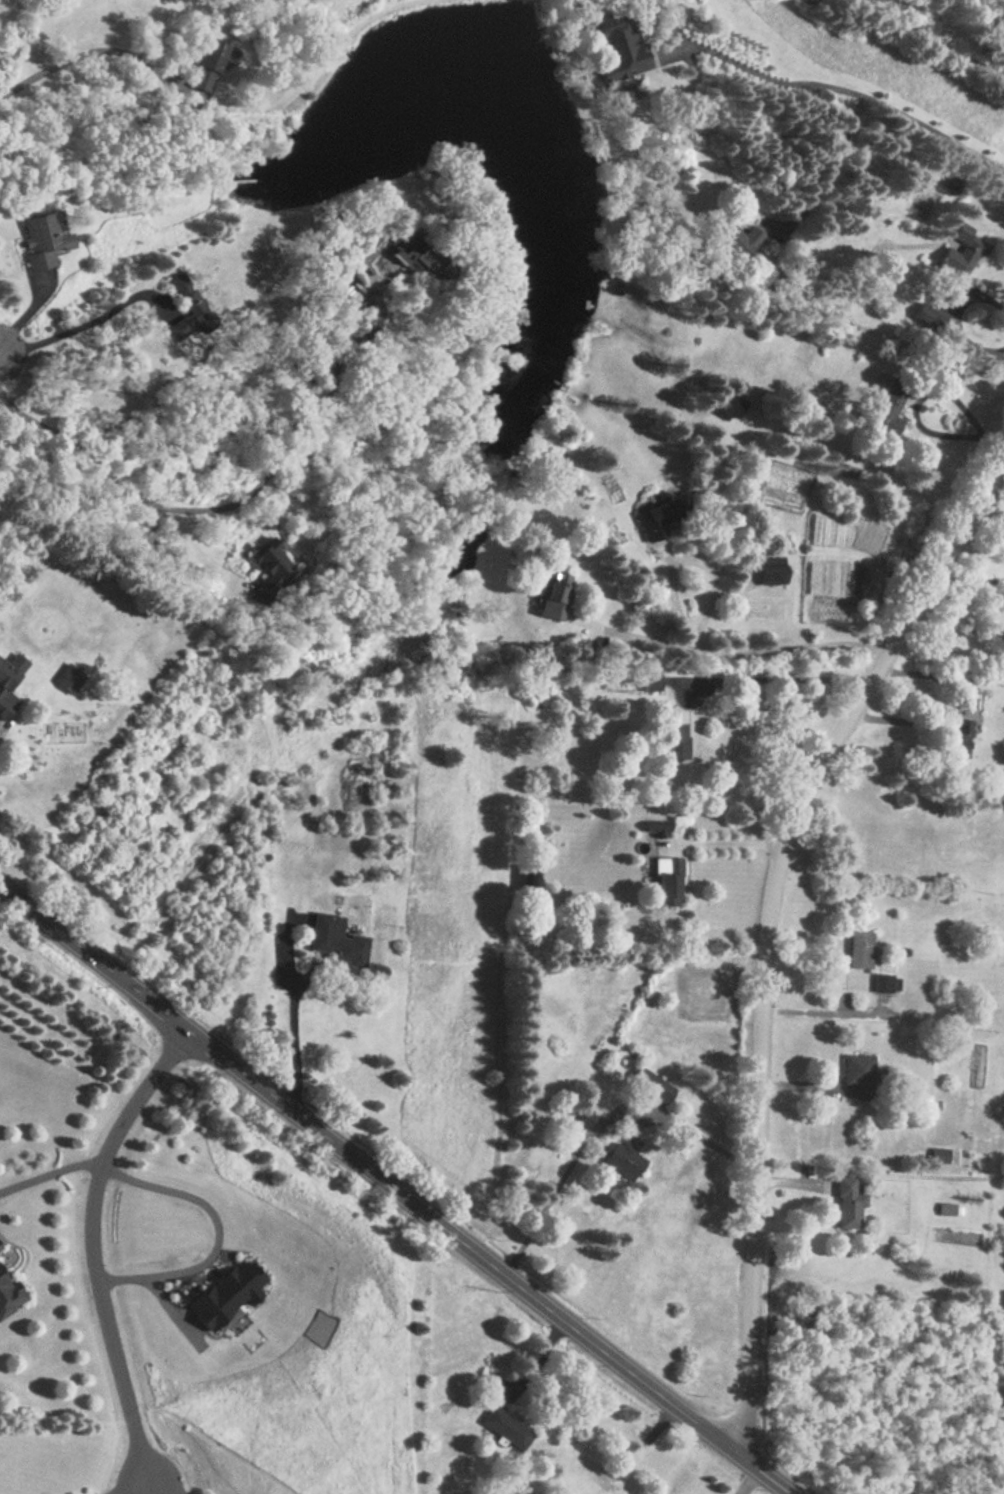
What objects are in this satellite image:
road: (929, 39)
building: (616, 47)
road: (96, 52)
building: (205, 66)
road: (857, 96)
road: (824, 167)
building: (40, 238)
building: (736, 238)
building: (957, 257)
road: (377, 307)
road: (92, 324)
road: (914, 401)
building: (886, 407)
road: (990, 445)
road: (195, 512)
road: (991, 513)
building: (654, 517)
road: (683, 554)
road: (202, 555)
building: (770, 570)
road: (968, 582)
building: (553, 594)
building: (1003, 605)
road: (735, 649)
building: (67, 678)
road: (775, 681)
building: (5, 696)
building: (673, 740)
road: (724, 844)
building: (528, 877)
building: (665, 880)
road: (768, 932)
building: (334, 938)
building: (859, 950)
building: (885, 983)
road: (828, 1013)
road: (298, 1050)
building: (859, 1075)
building: (650, 1084)
building: (928, 1102)
building: (582, 1117)
road: (601, 1121)
building: (621, 1157)
building: (938, 1157)
road: (50, 1174)
road: (395, 1189)
building: (848, 1203)
road: (220, 1225)
road: (95, 1243)
building: (7, 1293)
building: (506, 1427)
road: (747, 1481)
road: (131, 1486)
road: (154, 1486)
road: (165, 1486)

